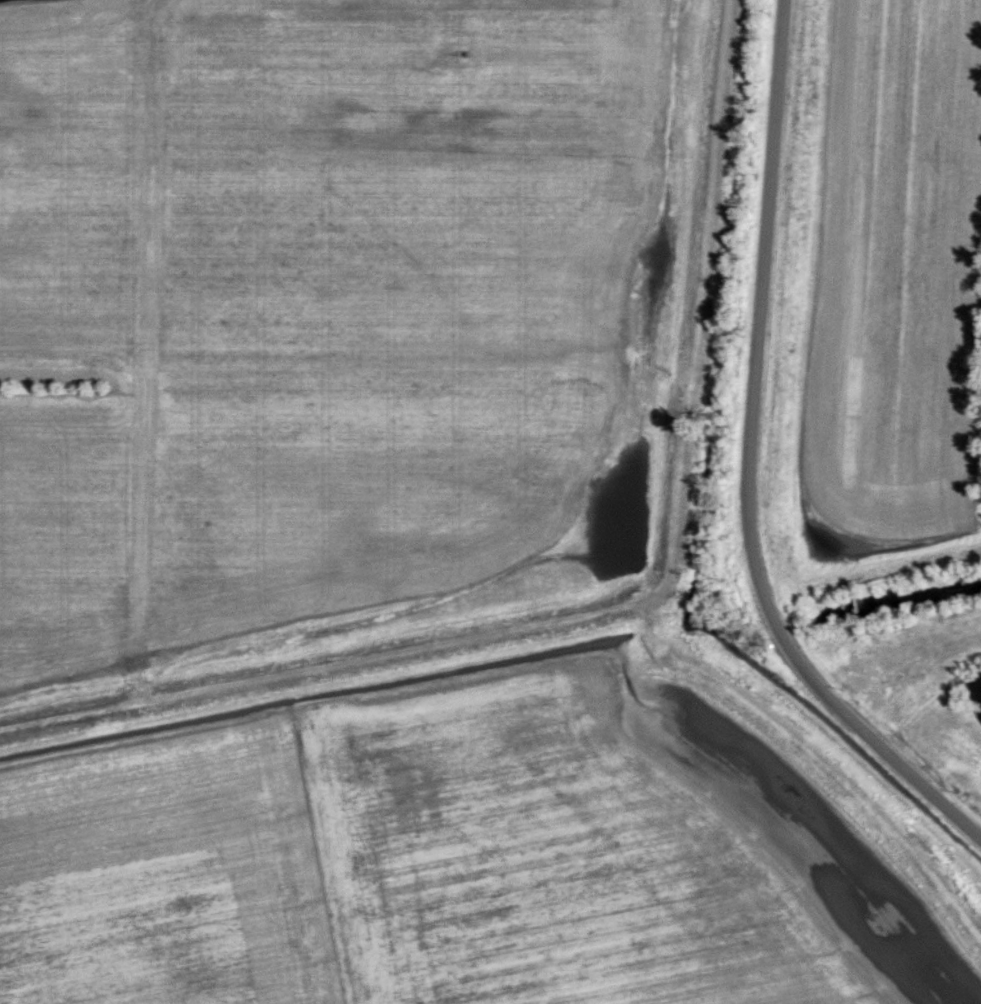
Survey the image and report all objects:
road: (747, 462)

